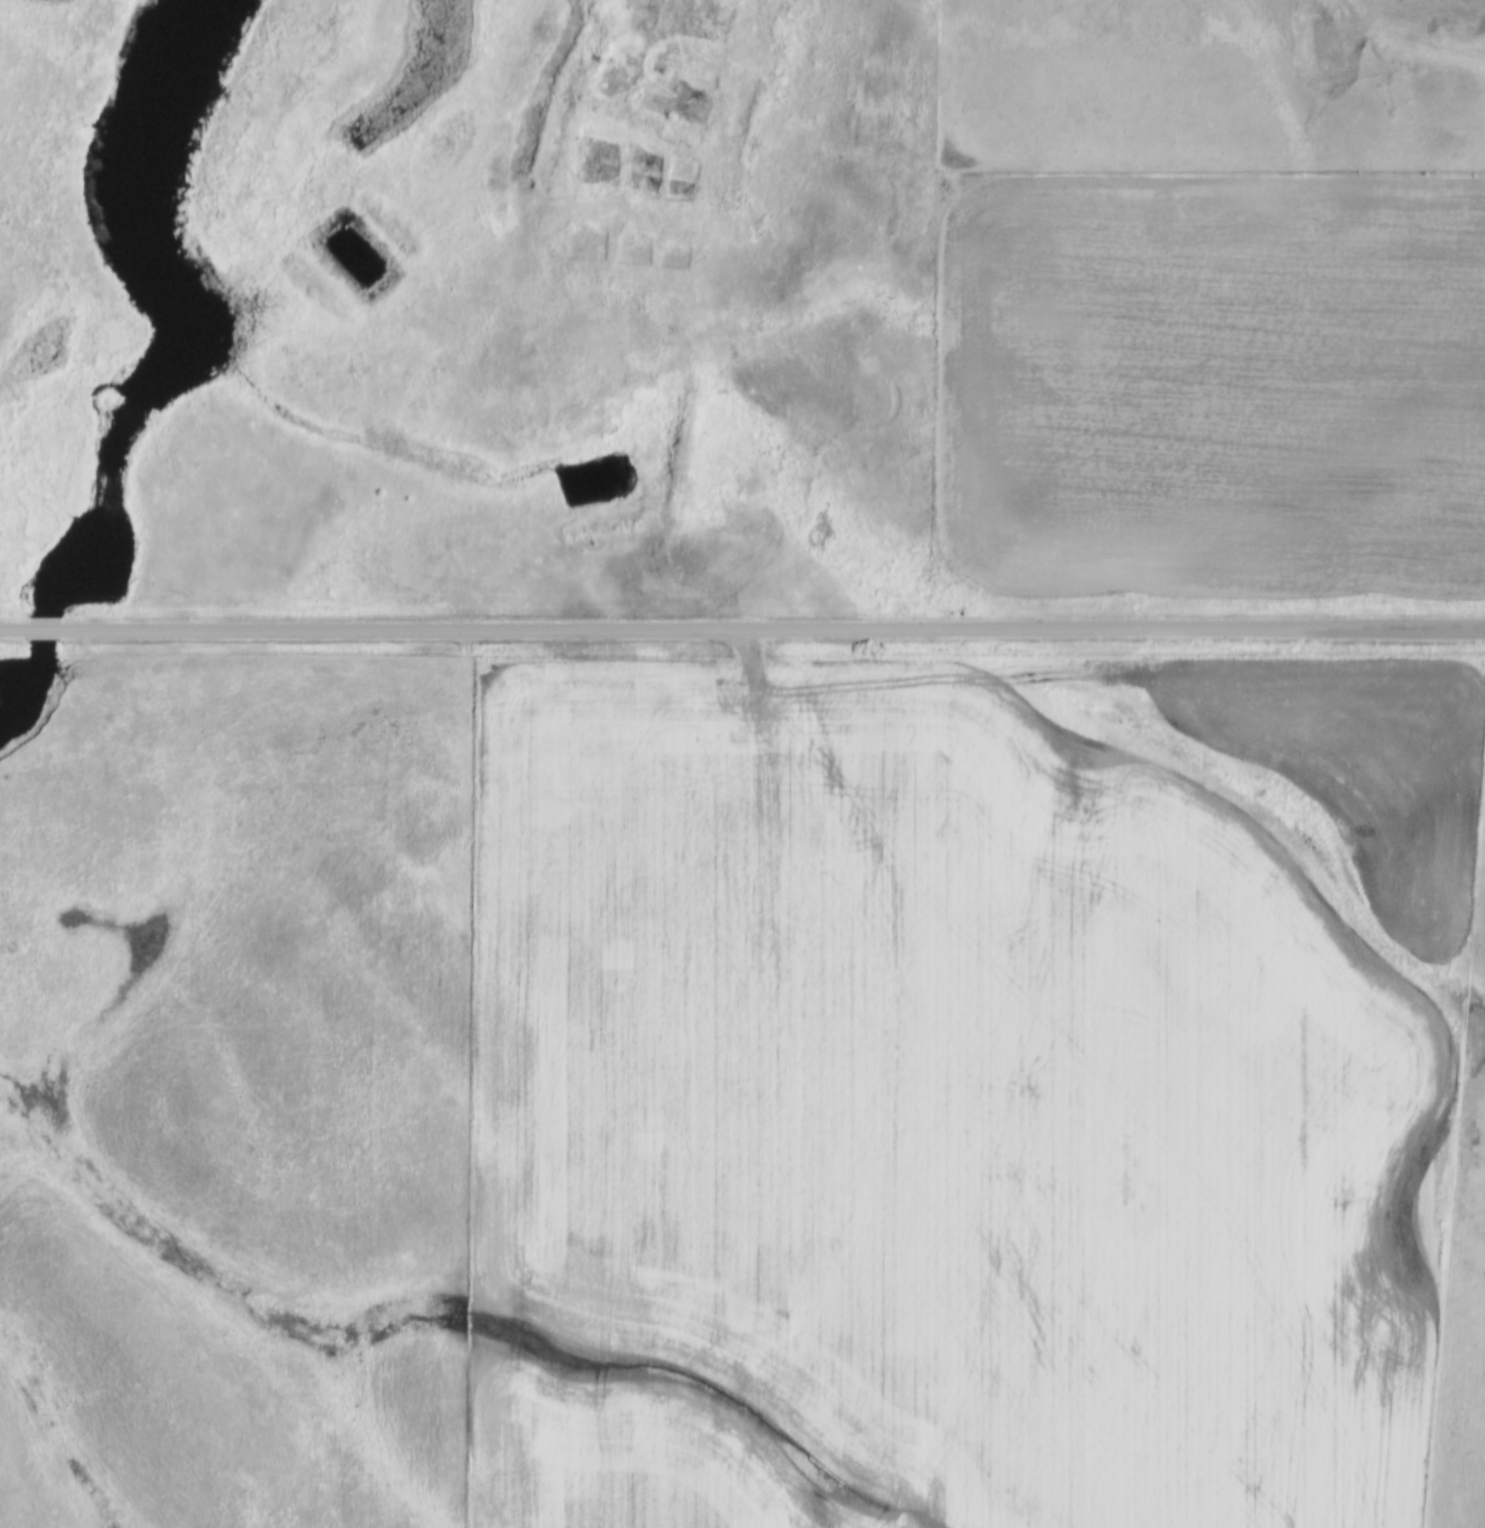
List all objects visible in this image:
river: (157, 368)
road: (765, 629)
road: (6, 632)
road: (29, 632)

